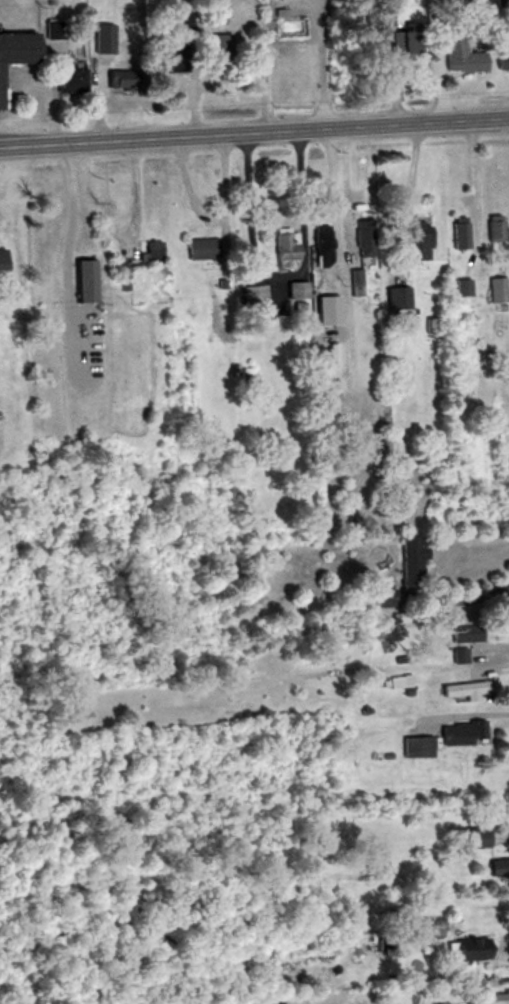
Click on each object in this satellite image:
building: (211, 13)
building: (53, 29)
building: (101, 39)
building: (403, 42)
building: (17, 47)
building: (458, 56)
building: (164, 58)
building: (501, 58)
road: (324, 64)
road: (266, 72)
building: (67, 79)
road: (254, 132)
road: (471, 174)
road: (409, 175)
road: (338, 187)
road: (210, 217)
building: (491, 228)
building: (457, 232)
building: (319, 239)
building: (417, 242)
building: (284, 246)
building: (198, 248)
road: (63, 250)
building: (147, 251)
building: (44, 259)
building: (1, 265)
building: (124, 269)
building: (83, 279)
building: (352, 282)
building: (293, 289)
building: (494, 289)
building: (330, 292)
building: (61, 293)
building: (248, 298)
building: (394, 301)
building: (410, 560)
building: (380, 596)
building: (462, 633)
building: (455, 655)
building: (461, 690)
building: (459, 733)
building: (413, 747)
building: (471, 841)
building: (497, 868)
building: (416, 928)
building: (388, 947)
building: (465, 949)
building: (496, 998)

